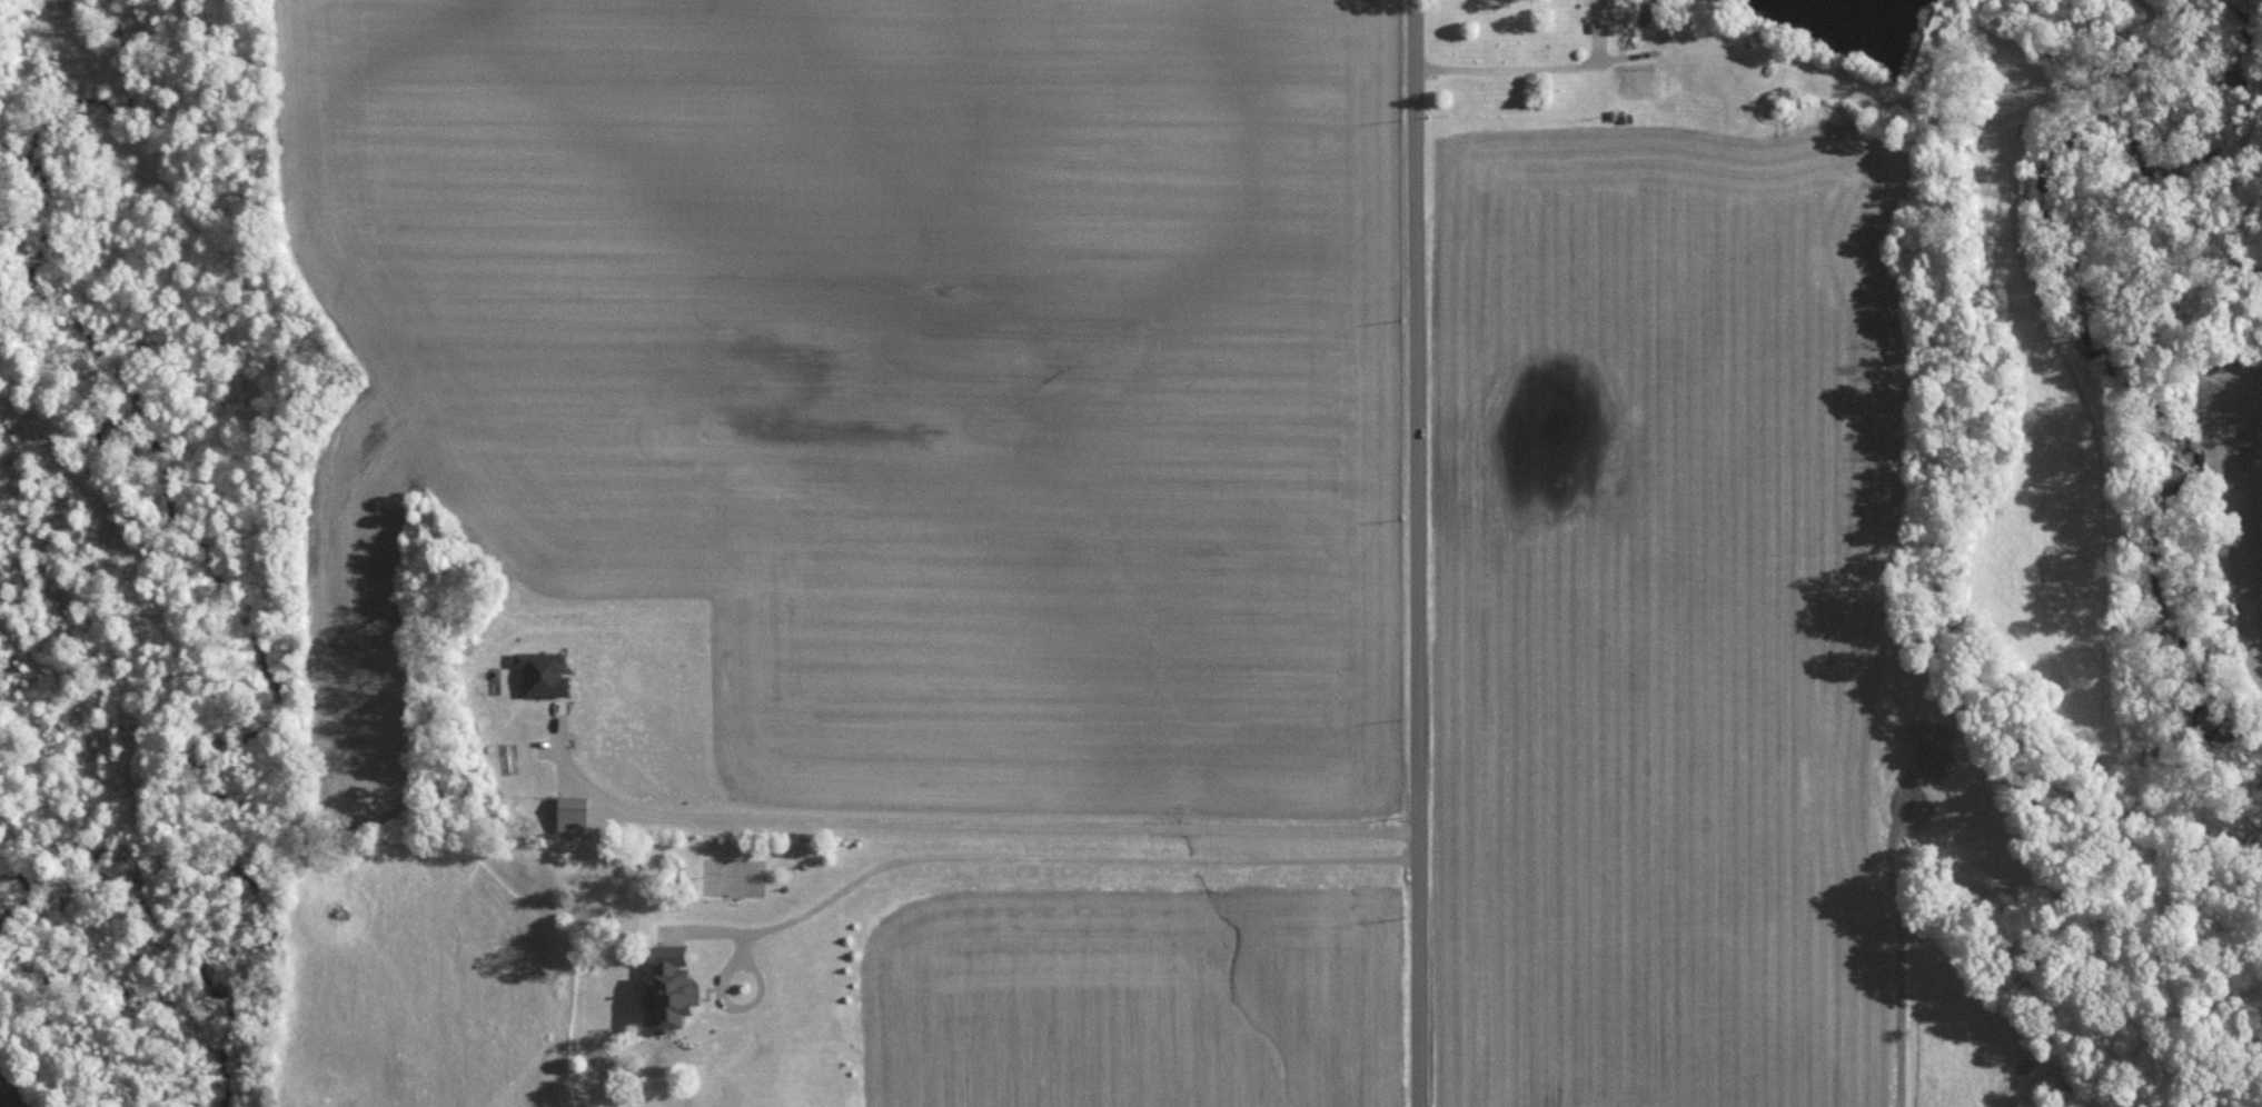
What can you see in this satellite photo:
road: (1521, 68)
road: (1417, 553)
building: (544, 672)
building: (1931, 747)
building: (573, 807)
road: (966, 821)
road: (1061, 857)
road: (1894, 945)
building: (674, 986)

